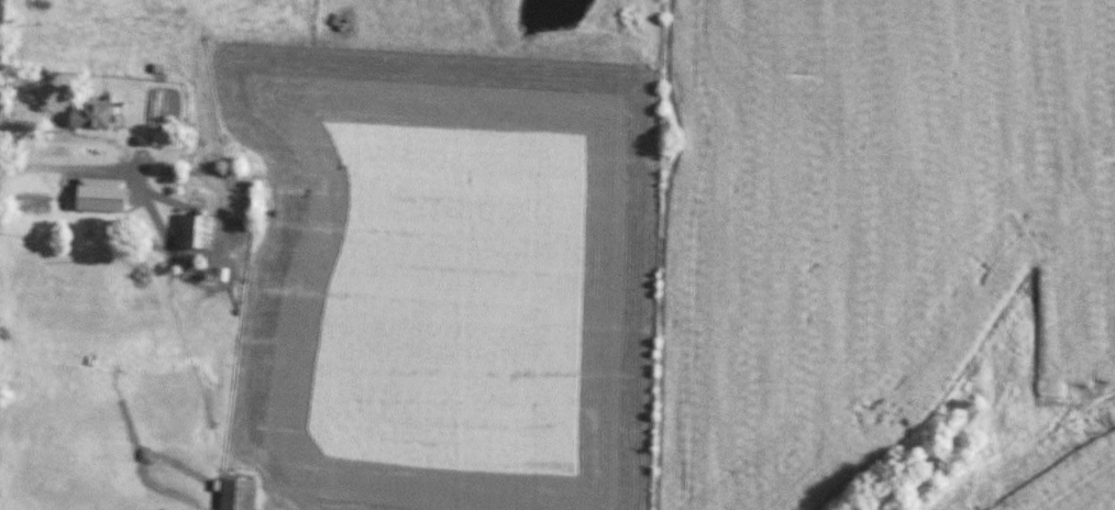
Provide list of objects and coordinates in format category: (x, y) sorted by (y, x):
building: (89, 115)
road: (70, 170)
building: (312, 188)
building: (195, 233)
building: (235, 494)

